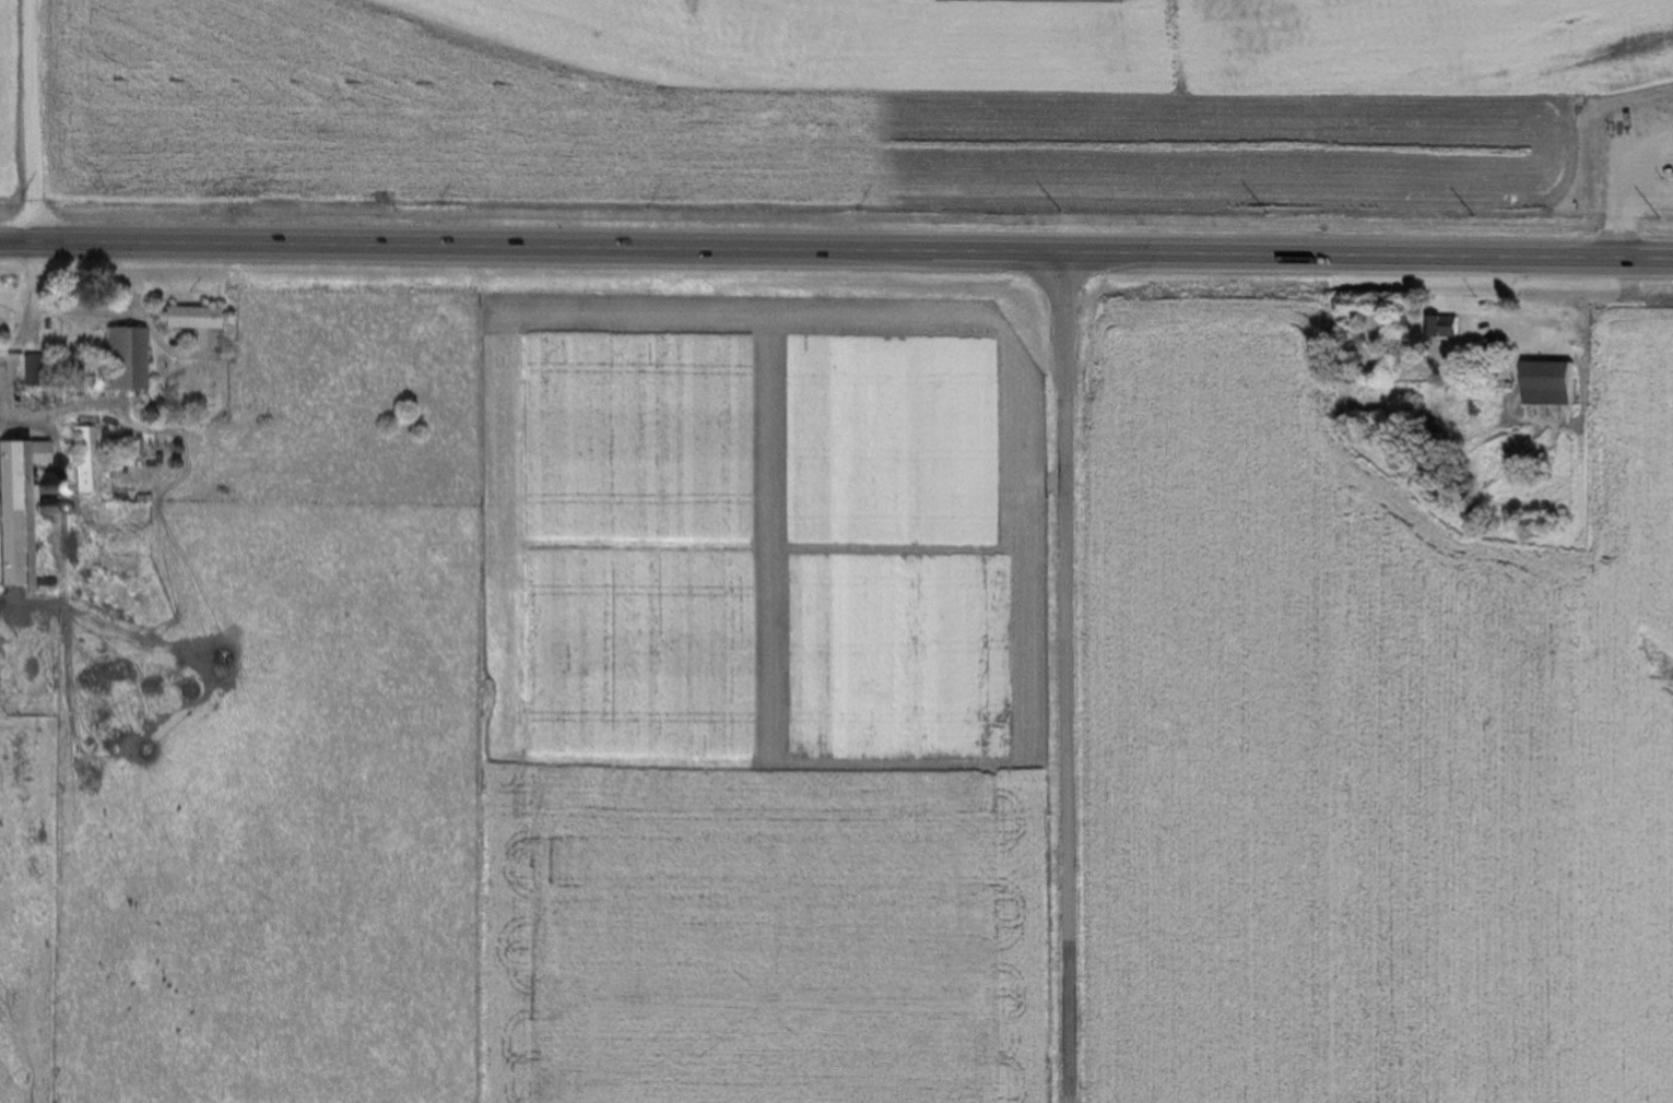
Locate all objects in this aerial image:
building: (1668, 115)
road: (34, 118)
road: (836, 250)
road: (25, 300)
road: (105, 311)
building: (184, 318)
building: (1441, 328)
building: (1493, 352)
building: (119, 359)
road: (3, 363)
building: (28, 372)
road: (3, 373)
building: (1545, 386)
road: (50, 414)
building: (81, 461)
building: (19, 506)
building: (38, 583)
road: (1065, 678)

